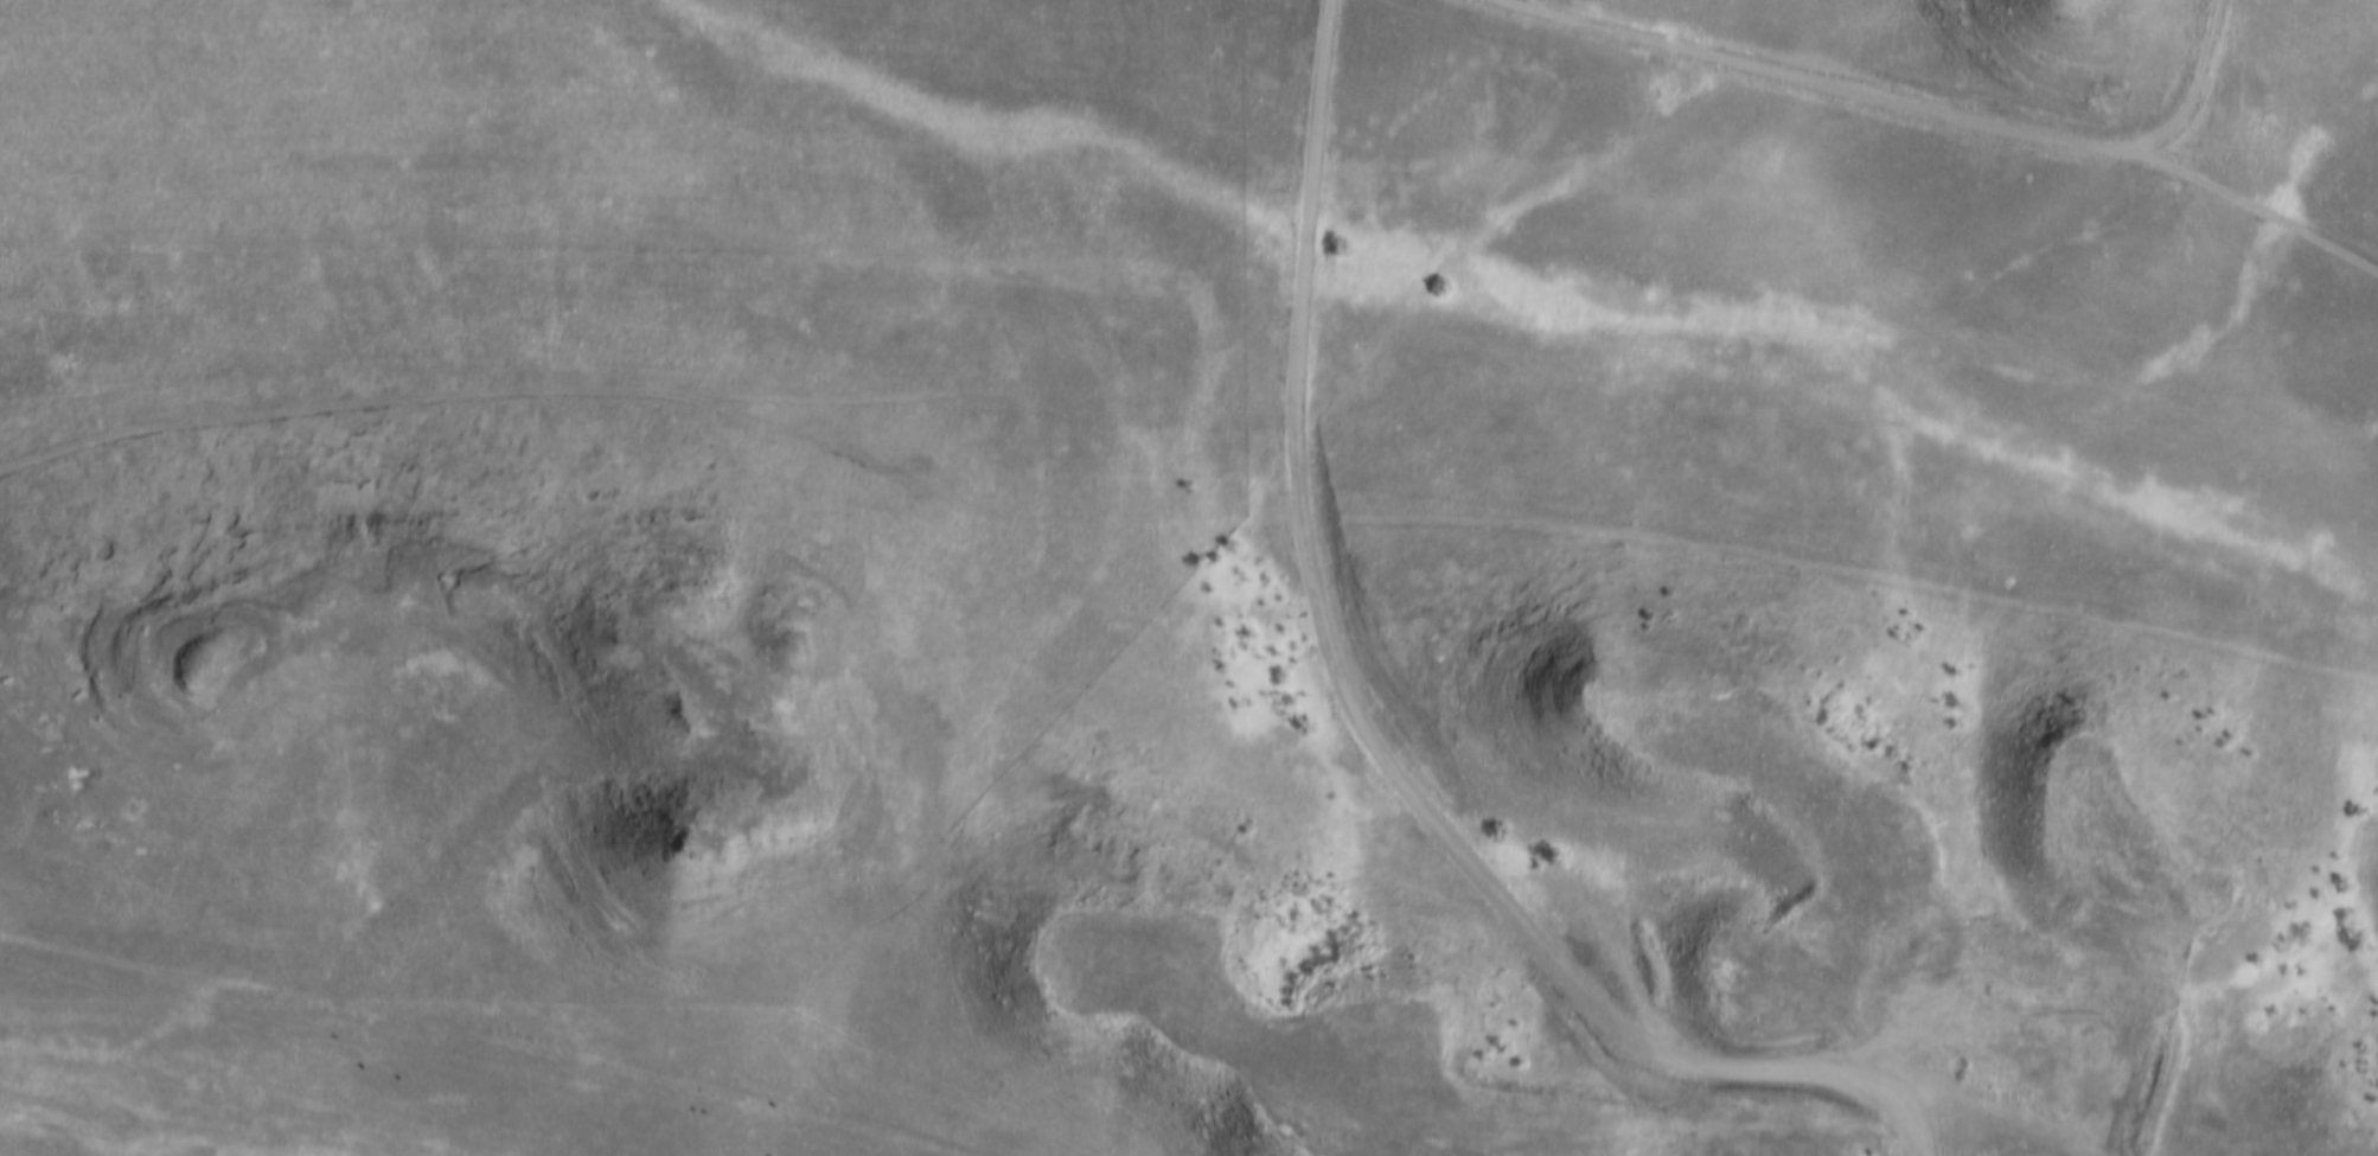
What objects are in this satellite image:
quarry: (2063, 0)
road: (1888, 102)
road: (2244, 209)

